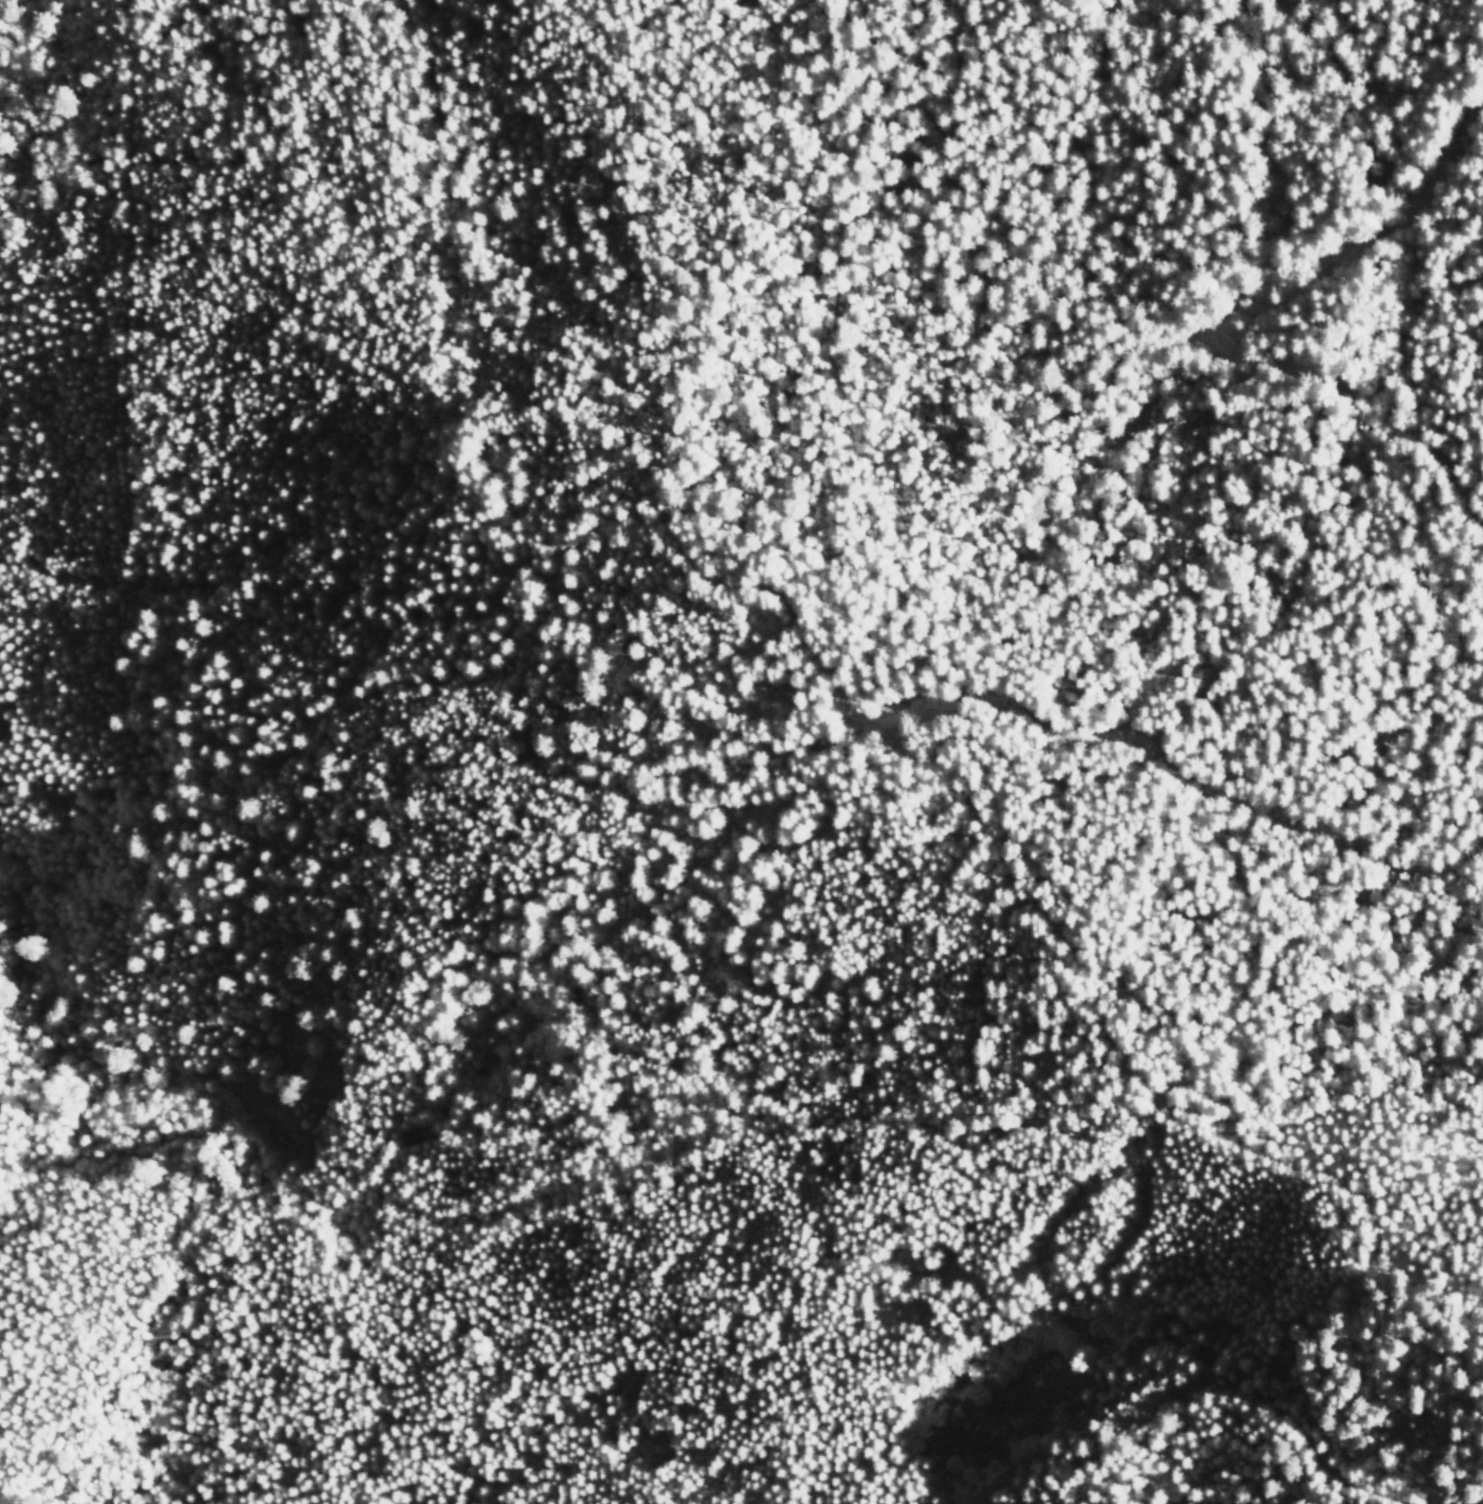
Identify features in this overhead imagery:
road: (1273, 1358)

